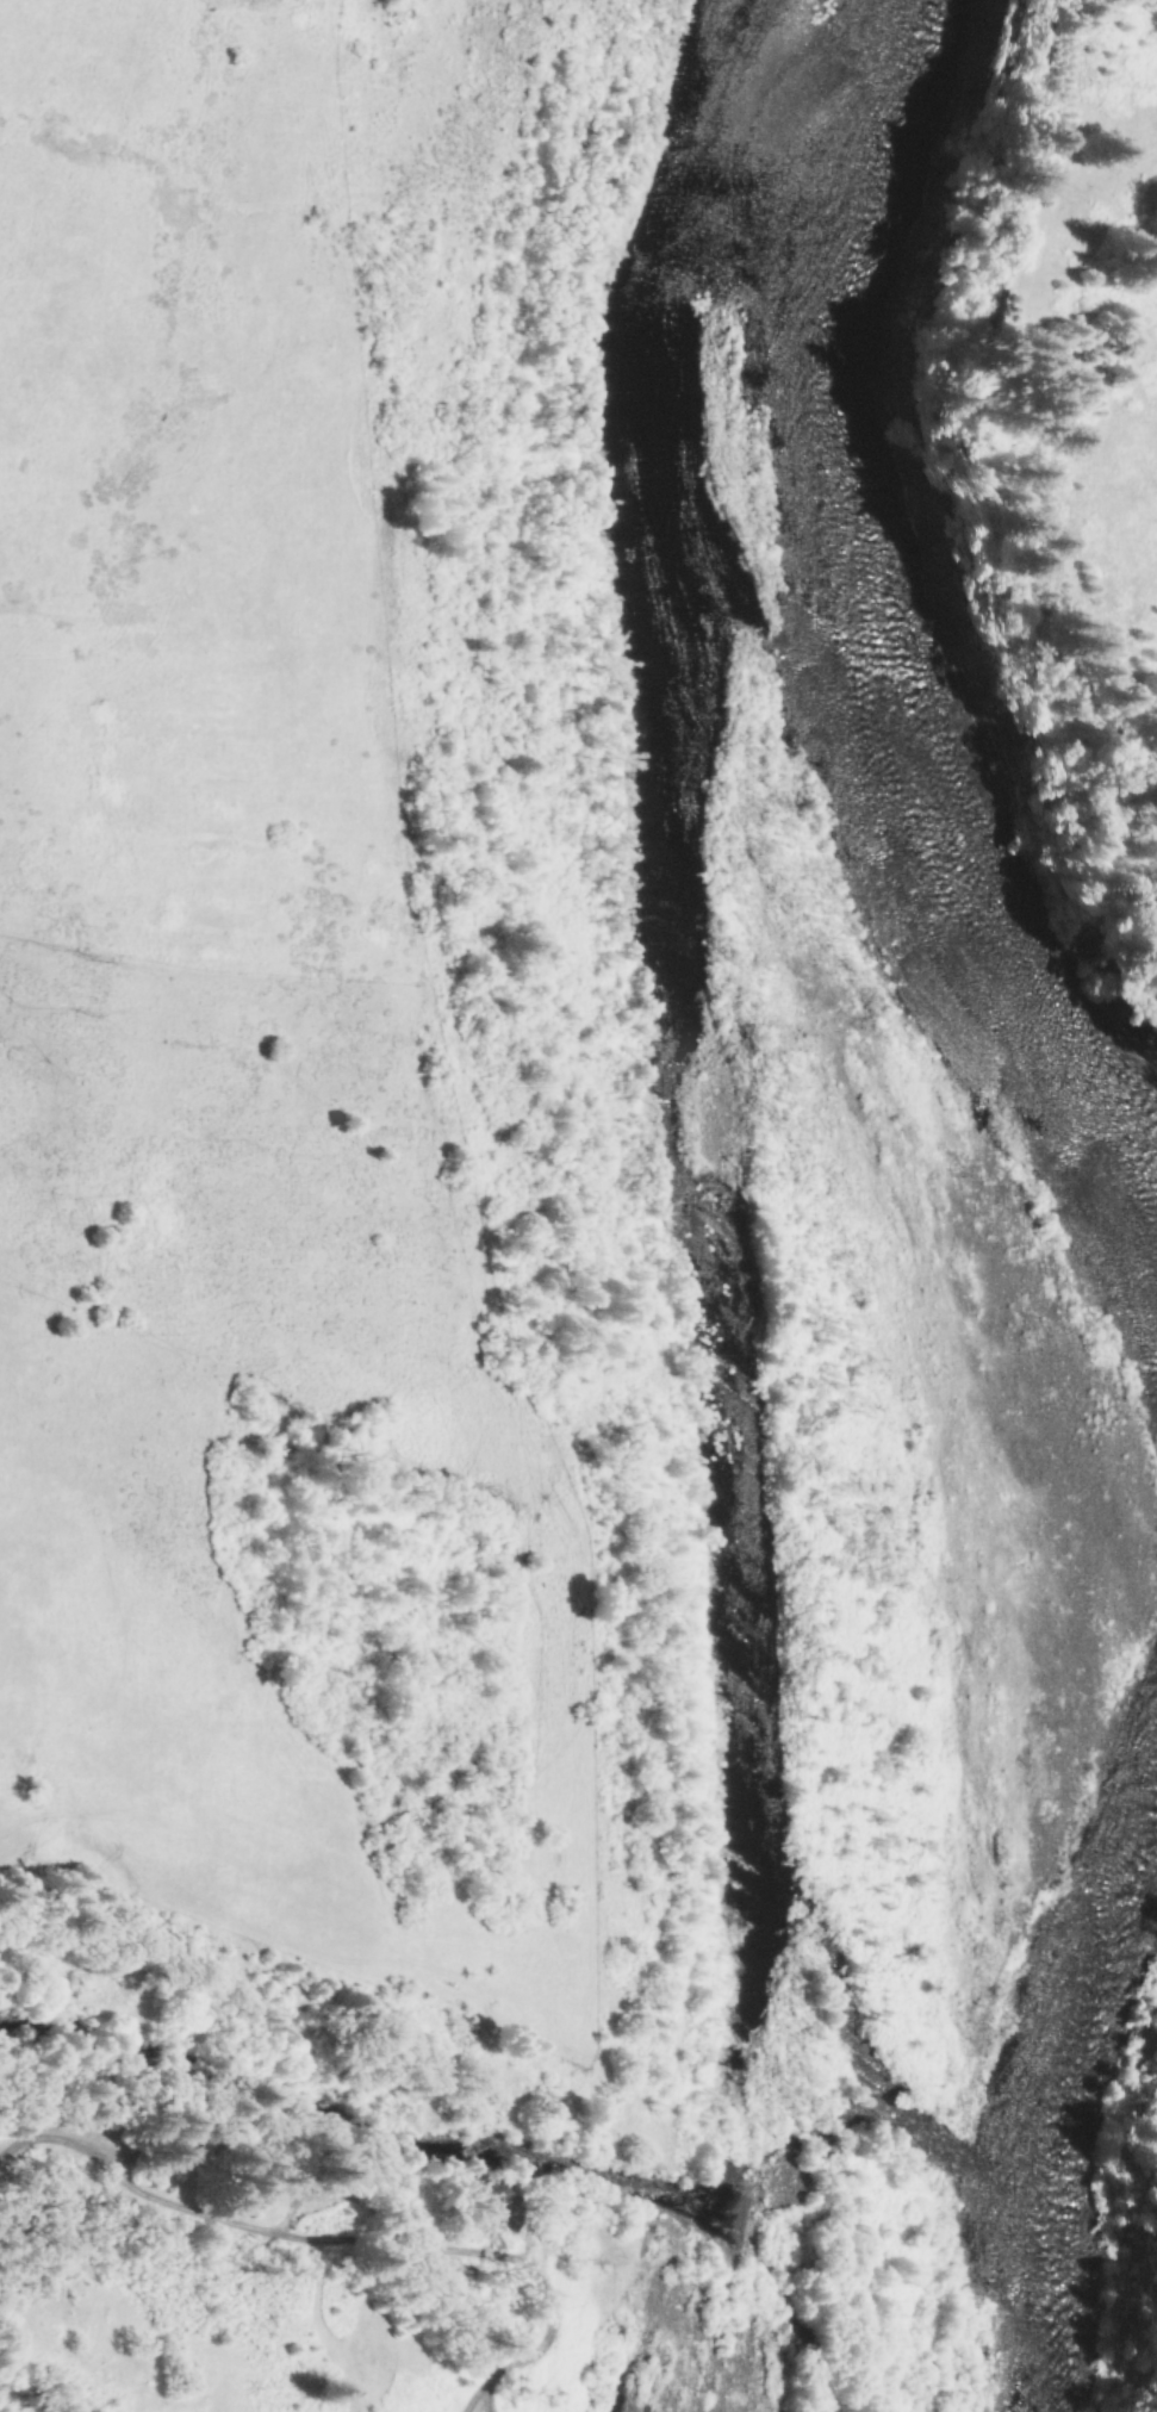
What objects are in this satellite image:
river: (859, 663)
river: (1068, 2071)
road: (324, 2239)
road: (474, 2395)
road: (486, 2395)
road: (19, 2399)

